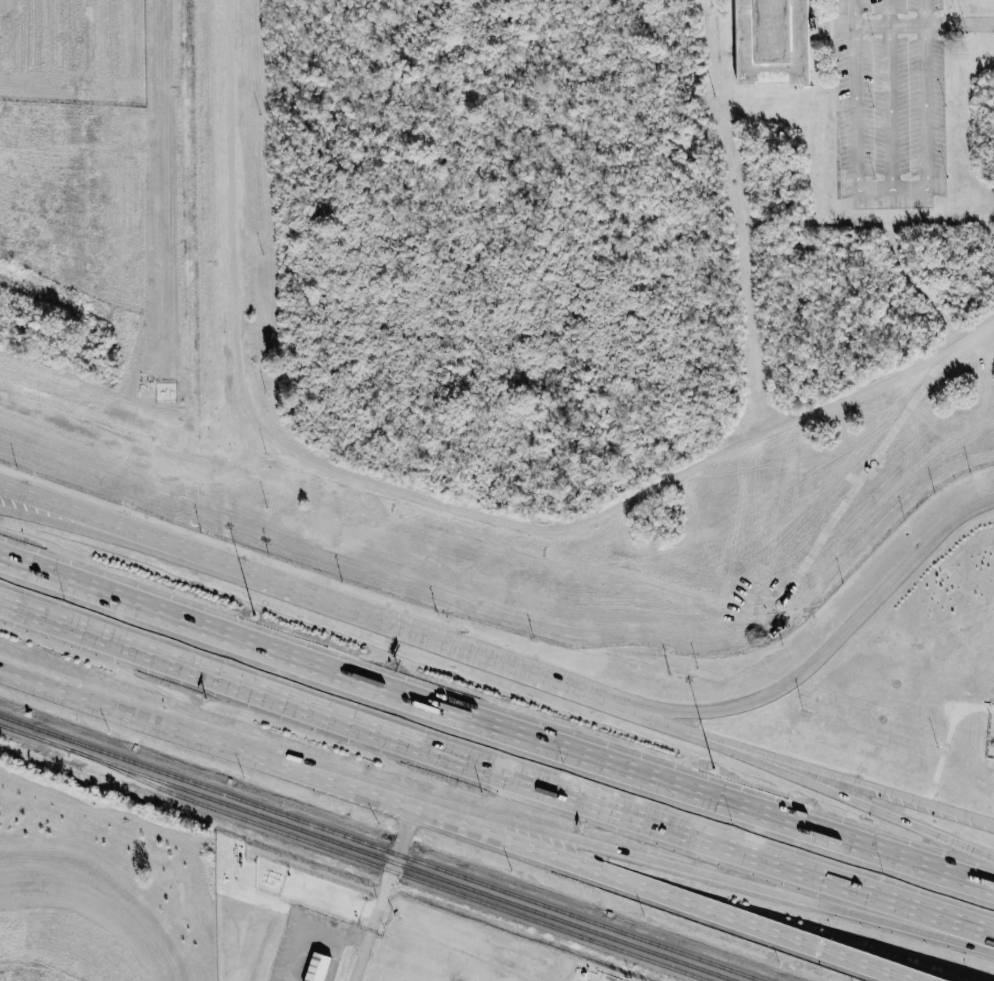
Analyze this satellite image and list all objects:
road: (923, 24)
building: (815, 25)
building: (774, 41)
road: (72, 508)
road: (69, 529)
road: (205, 555)
road: (203, 562)
road: (322, 598)
road: (846, 626)
road: (504, 662)
road: (654, 709)
road: (497, 711)
road: (652, 717)
road: (695, 733)
road: (738, 745)
road: (446, 751)
road: (736, 751)
road: (877, 786)
road: (414, 807)
road: (875, 810)
railway: (382, 847)
railway: (369, 852)
road: (691, 867)
railway: (389, 869)
road: (383, 893)
road: (943, 918)
road: (872, 966)
building: (318, 967)

